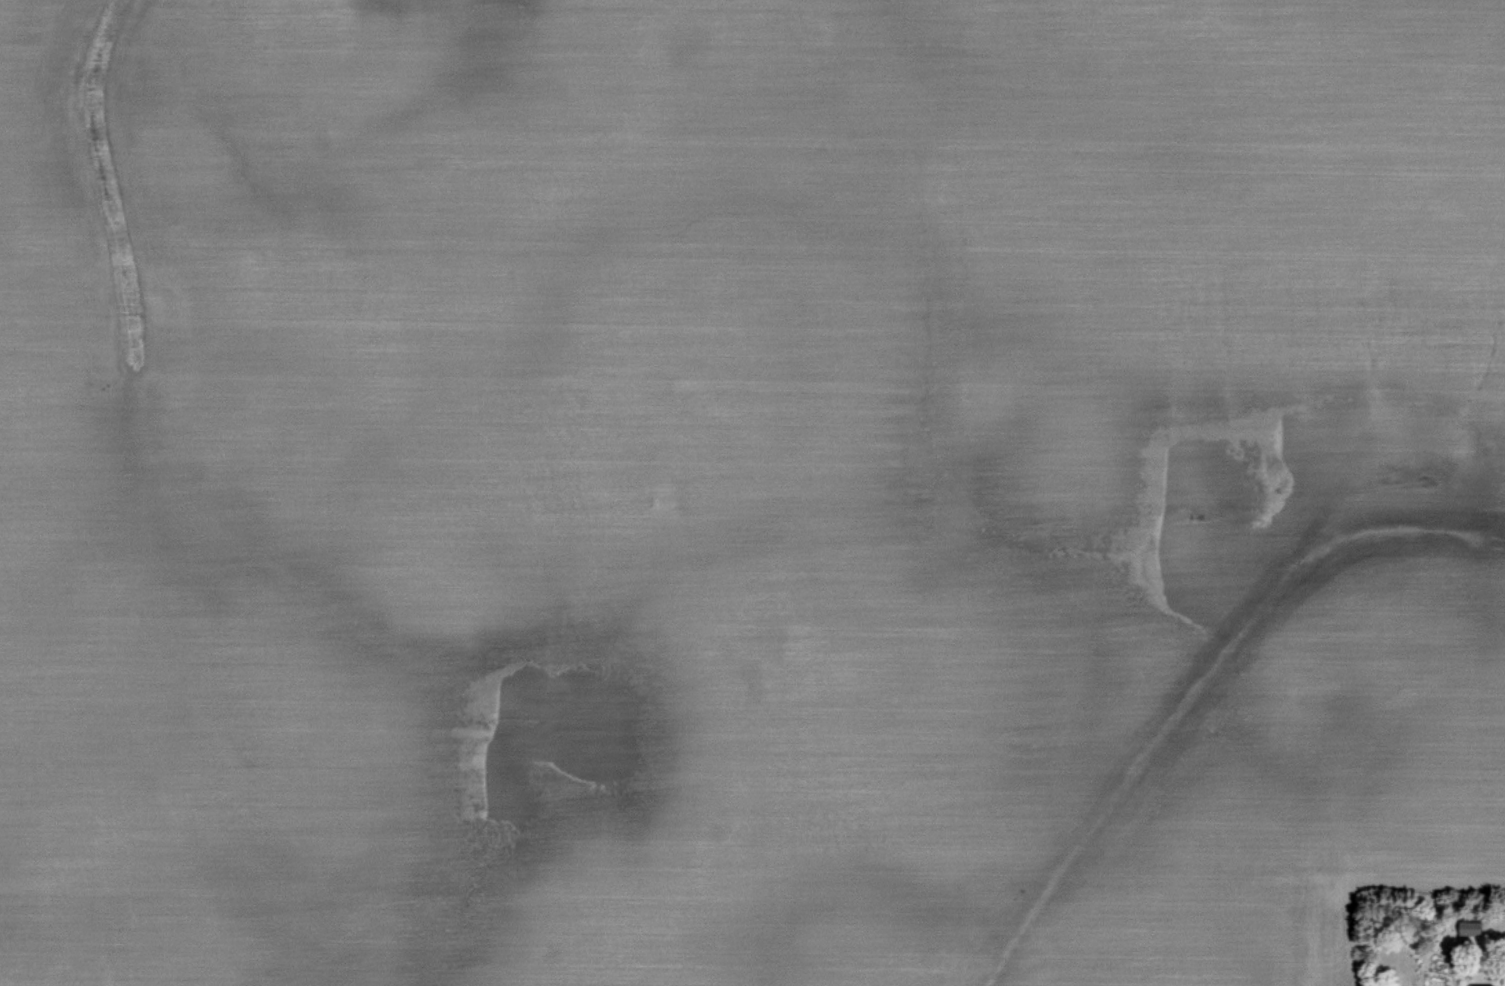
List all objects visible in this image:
building: (1472, 927)
building: (1489, 985)

